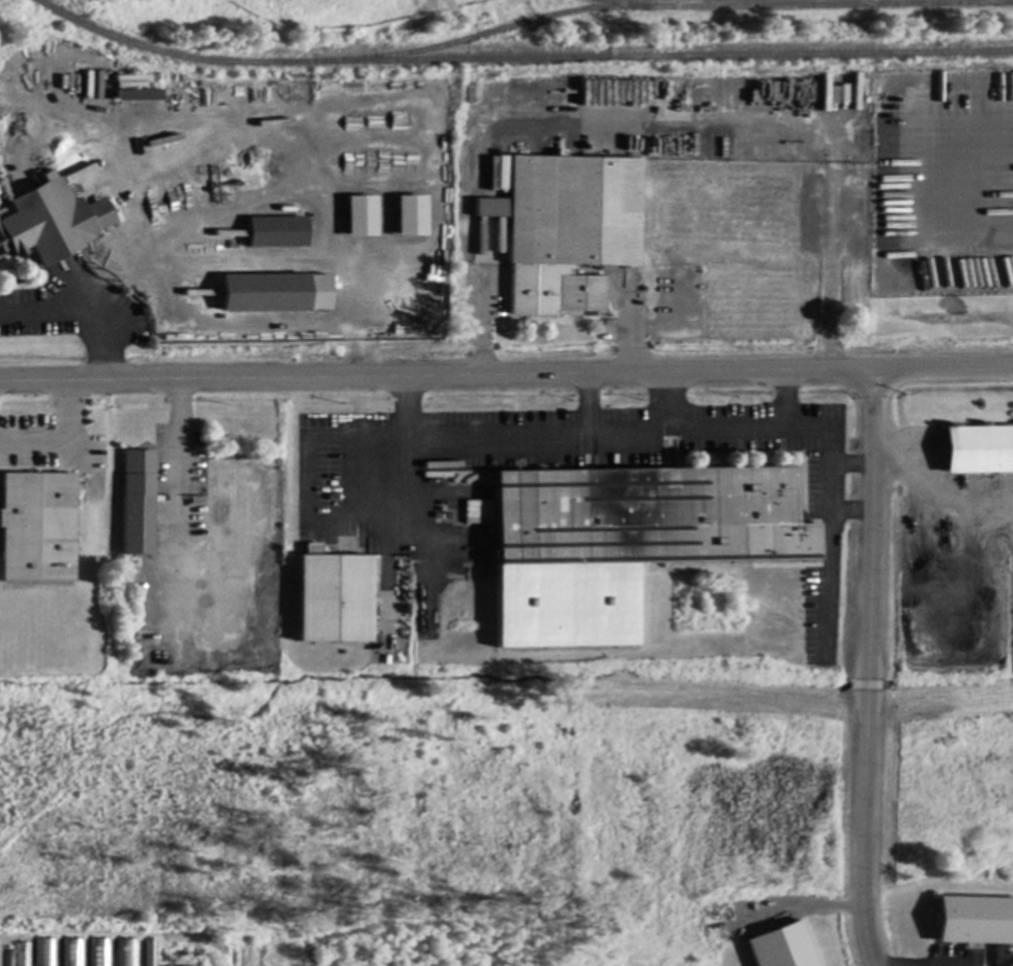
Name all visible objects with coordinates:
railway: (635, 3)
railway: (660, 7)
railway: (519, 59)
building: (138, 96)
building: (504, 174)
building: (361, 217)
building: (411, 217)
building: (50, 222)
building: (567, 231)
building: (278, 233)
road: (264, 264)
building: (275, 294)
road: (83, 311)
road: (506, 378)
road: (787, 401)
road: (669, 403)
road: (590, 405)
road: (698, 429)
road: (59, 440)
road: (179, 449)
building: (979, 450)
road: (851, 467)
road: (403, 477)
building: (138, 504)
road: (849, 510)
building: (479, 511)
building: (37, 529)
building: (626, 544)
building: (334, 598)
road: (865, 670)
building: (975, 921)
building: (783, 948)
building: (46, 952)
building: (87, 952)
building: (128, 952)
building: (151, 952)
building: (6, 956)

